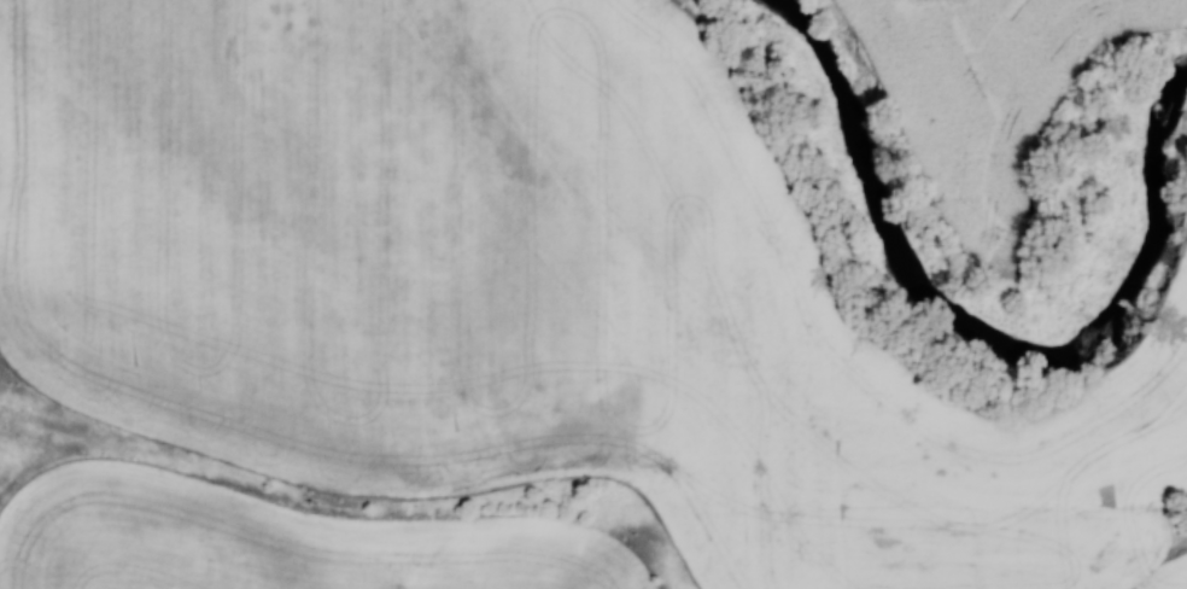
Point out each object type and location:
river: (975, 330)

